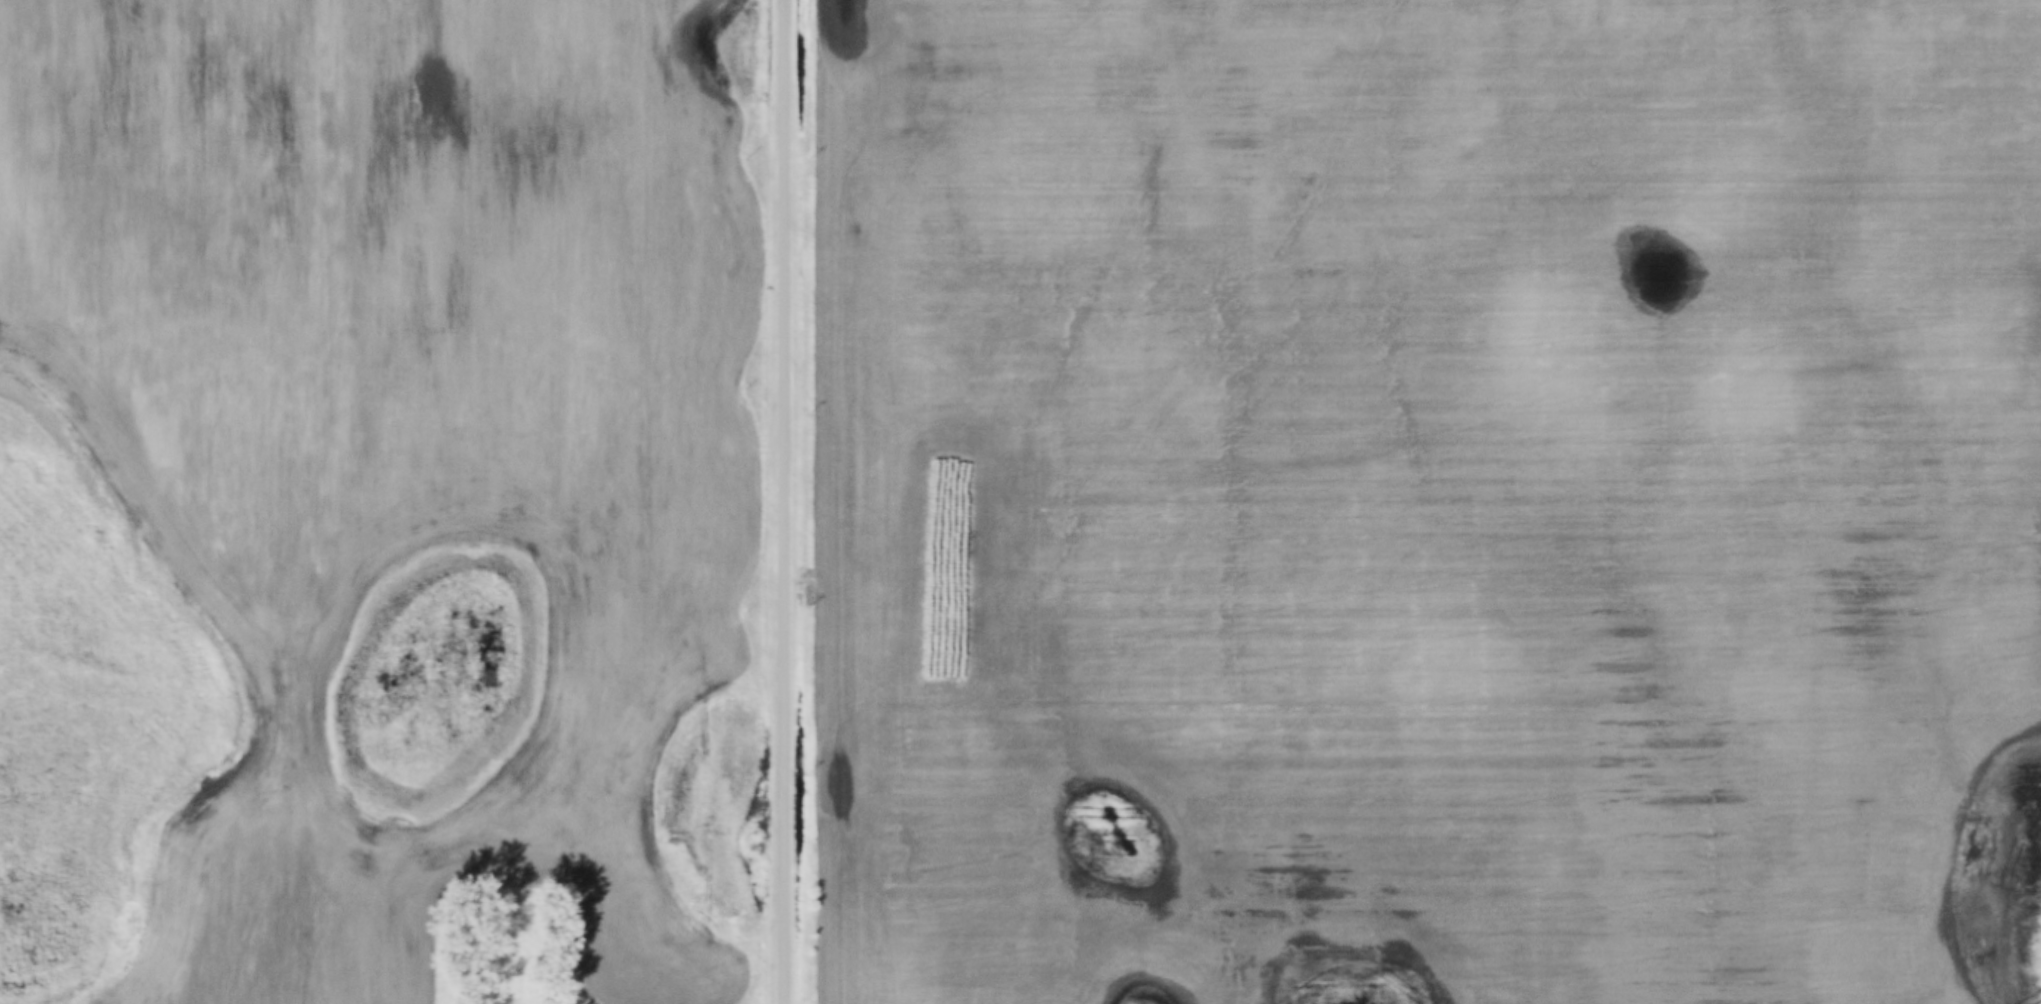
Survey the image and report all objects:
road: (785, 502)

